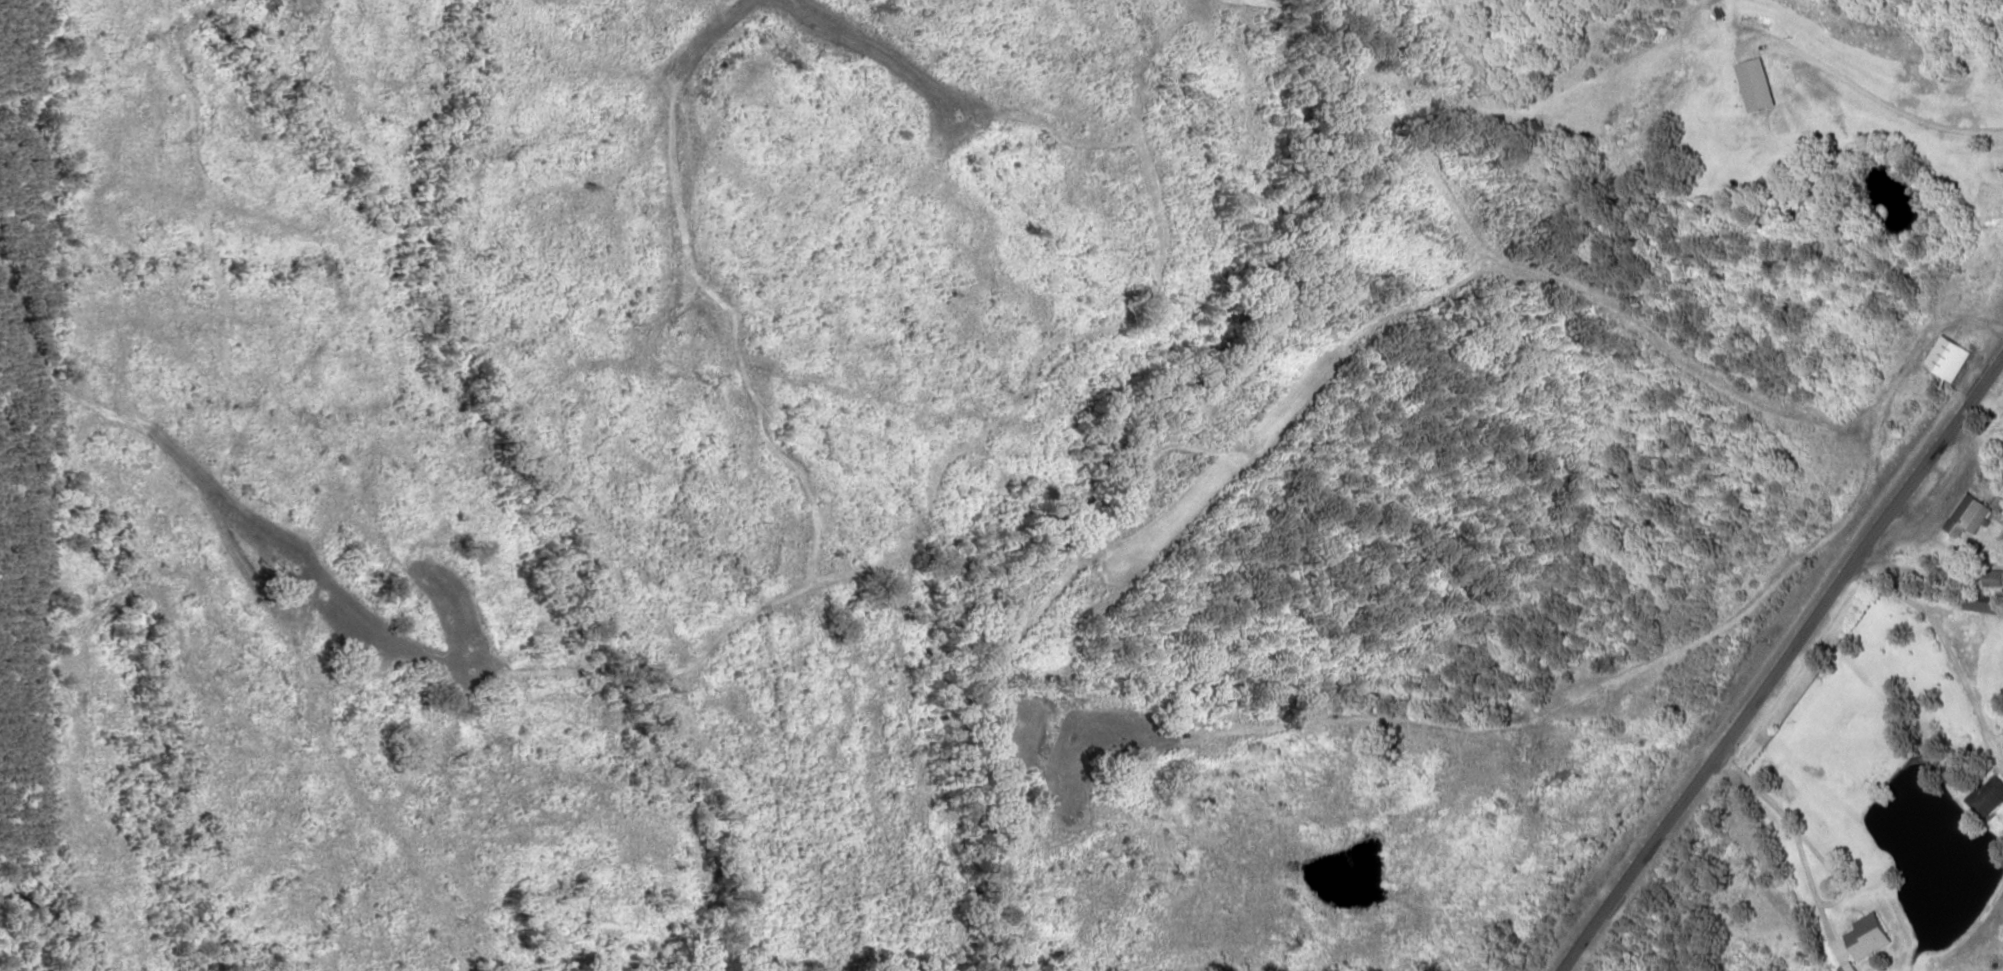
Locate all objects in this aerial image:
building: (1759, 84)
building: (1949, 358)
building: (1973, 514)
building: (1995, 577)
building: (1984, 602)
road: (1781, 666)
building: (1991, 797)
building: (1871, 936)
building: (1852, 967)

